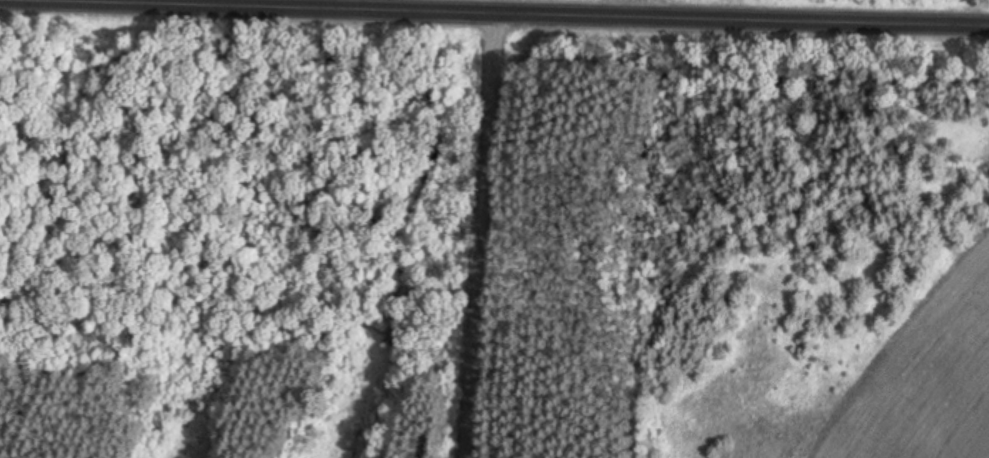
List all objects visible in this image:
road: (626, 9)
road: (484, 232)
crop: (929, 383)

